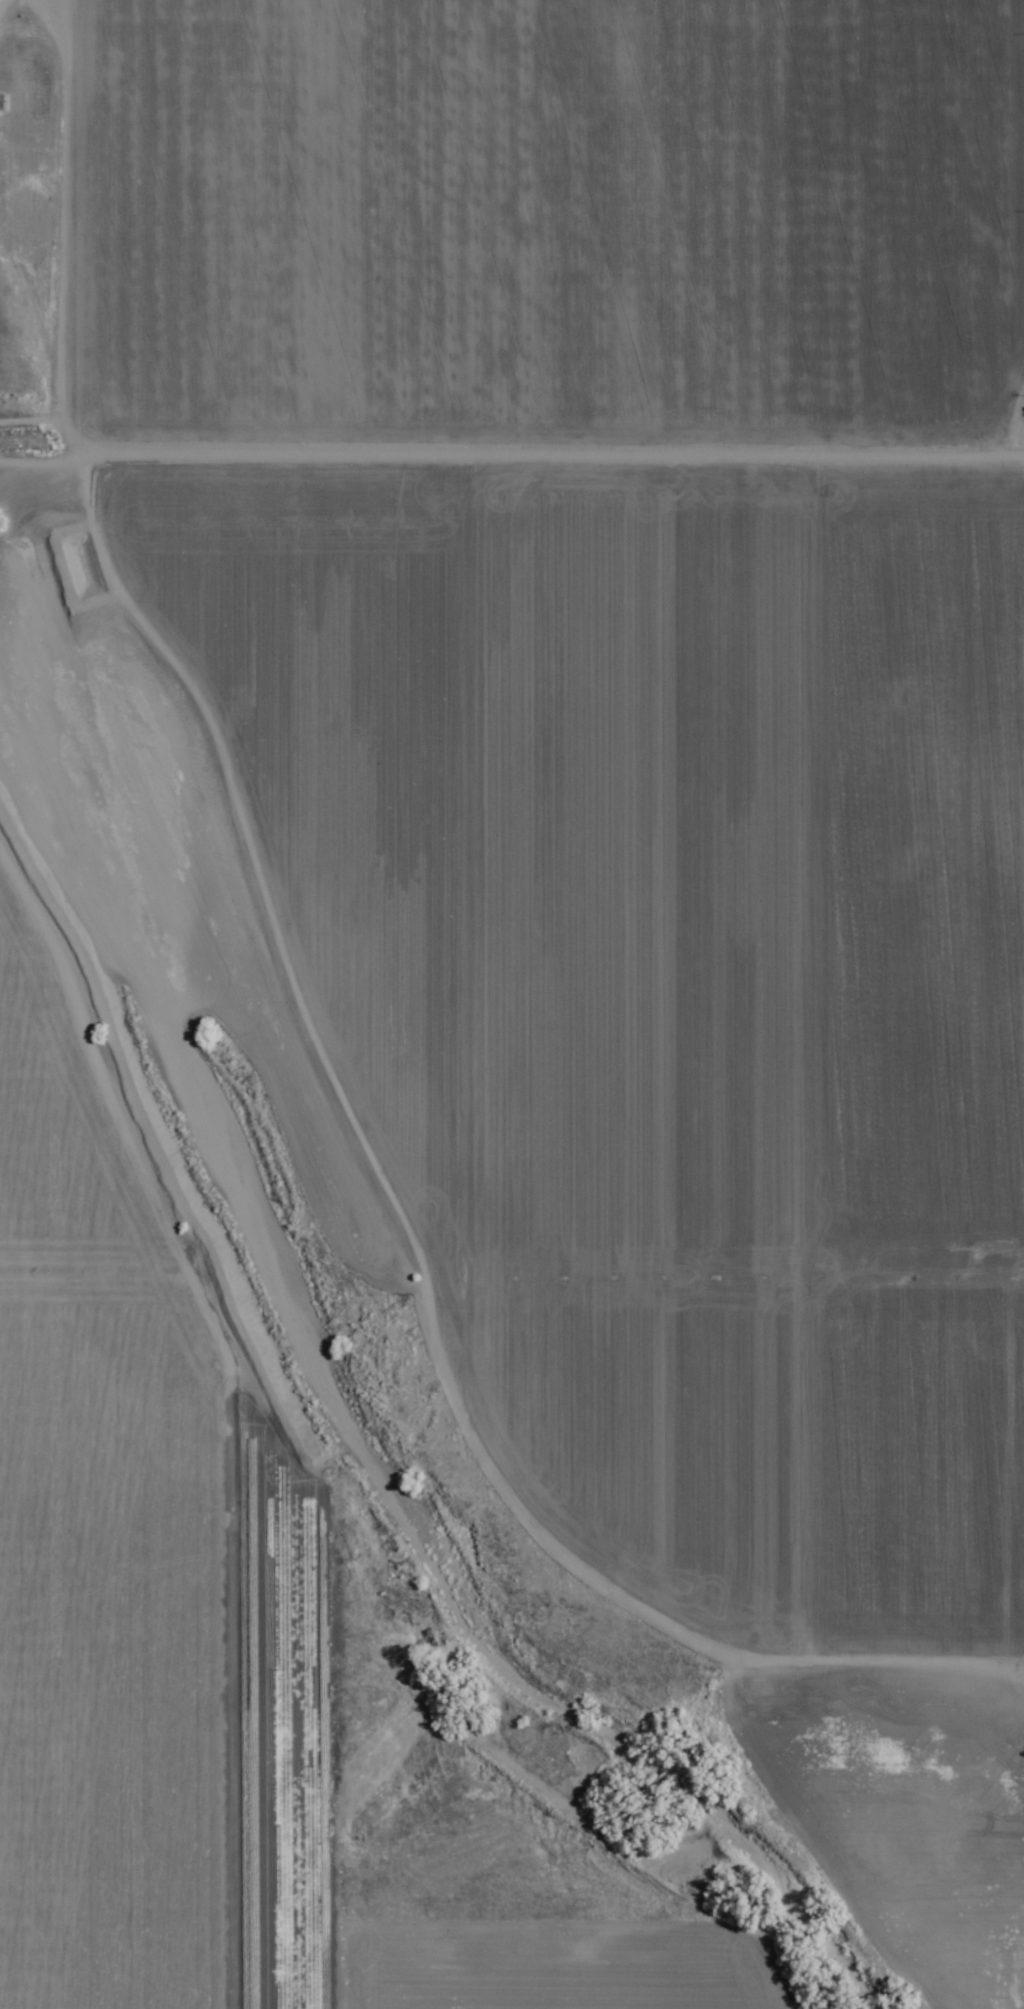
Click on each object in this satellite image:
wastewater plant: (31, 83)
road: (1022, 169)
road: (40, 224)
road: (511, 443)
crop: (593, 705)
road: (320, 1617)
crop: (210, 1646)

